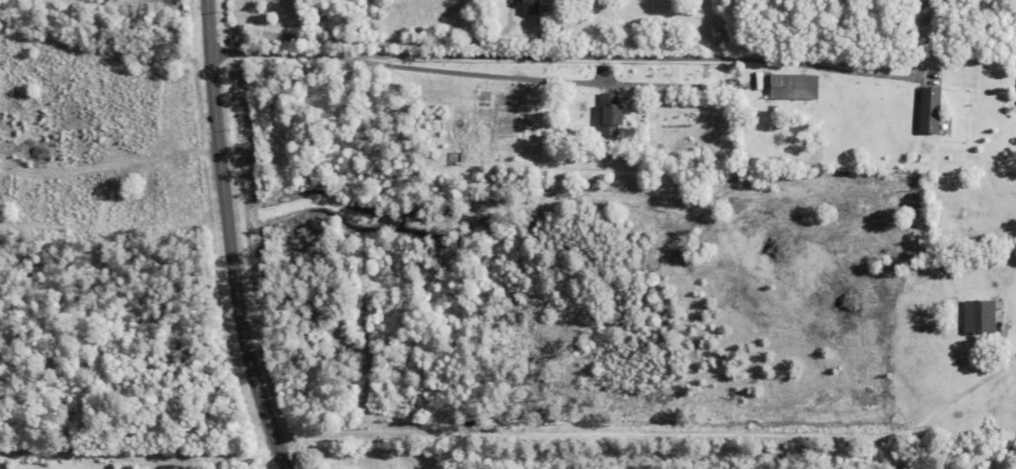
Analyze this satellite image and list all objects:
building: (530, 7)
road: (341, 35)
road: (560, 57)
road: (466, 73)
building: (795, 88)
building: (931, 112)
building: (612, 116)
building: (917, 205)
building: (877, 211)
building: (892, 217)
road: (230, 238)
building: (980, 319)
building: (987, 342)
road: (660, 437)
road: (139, 452)

